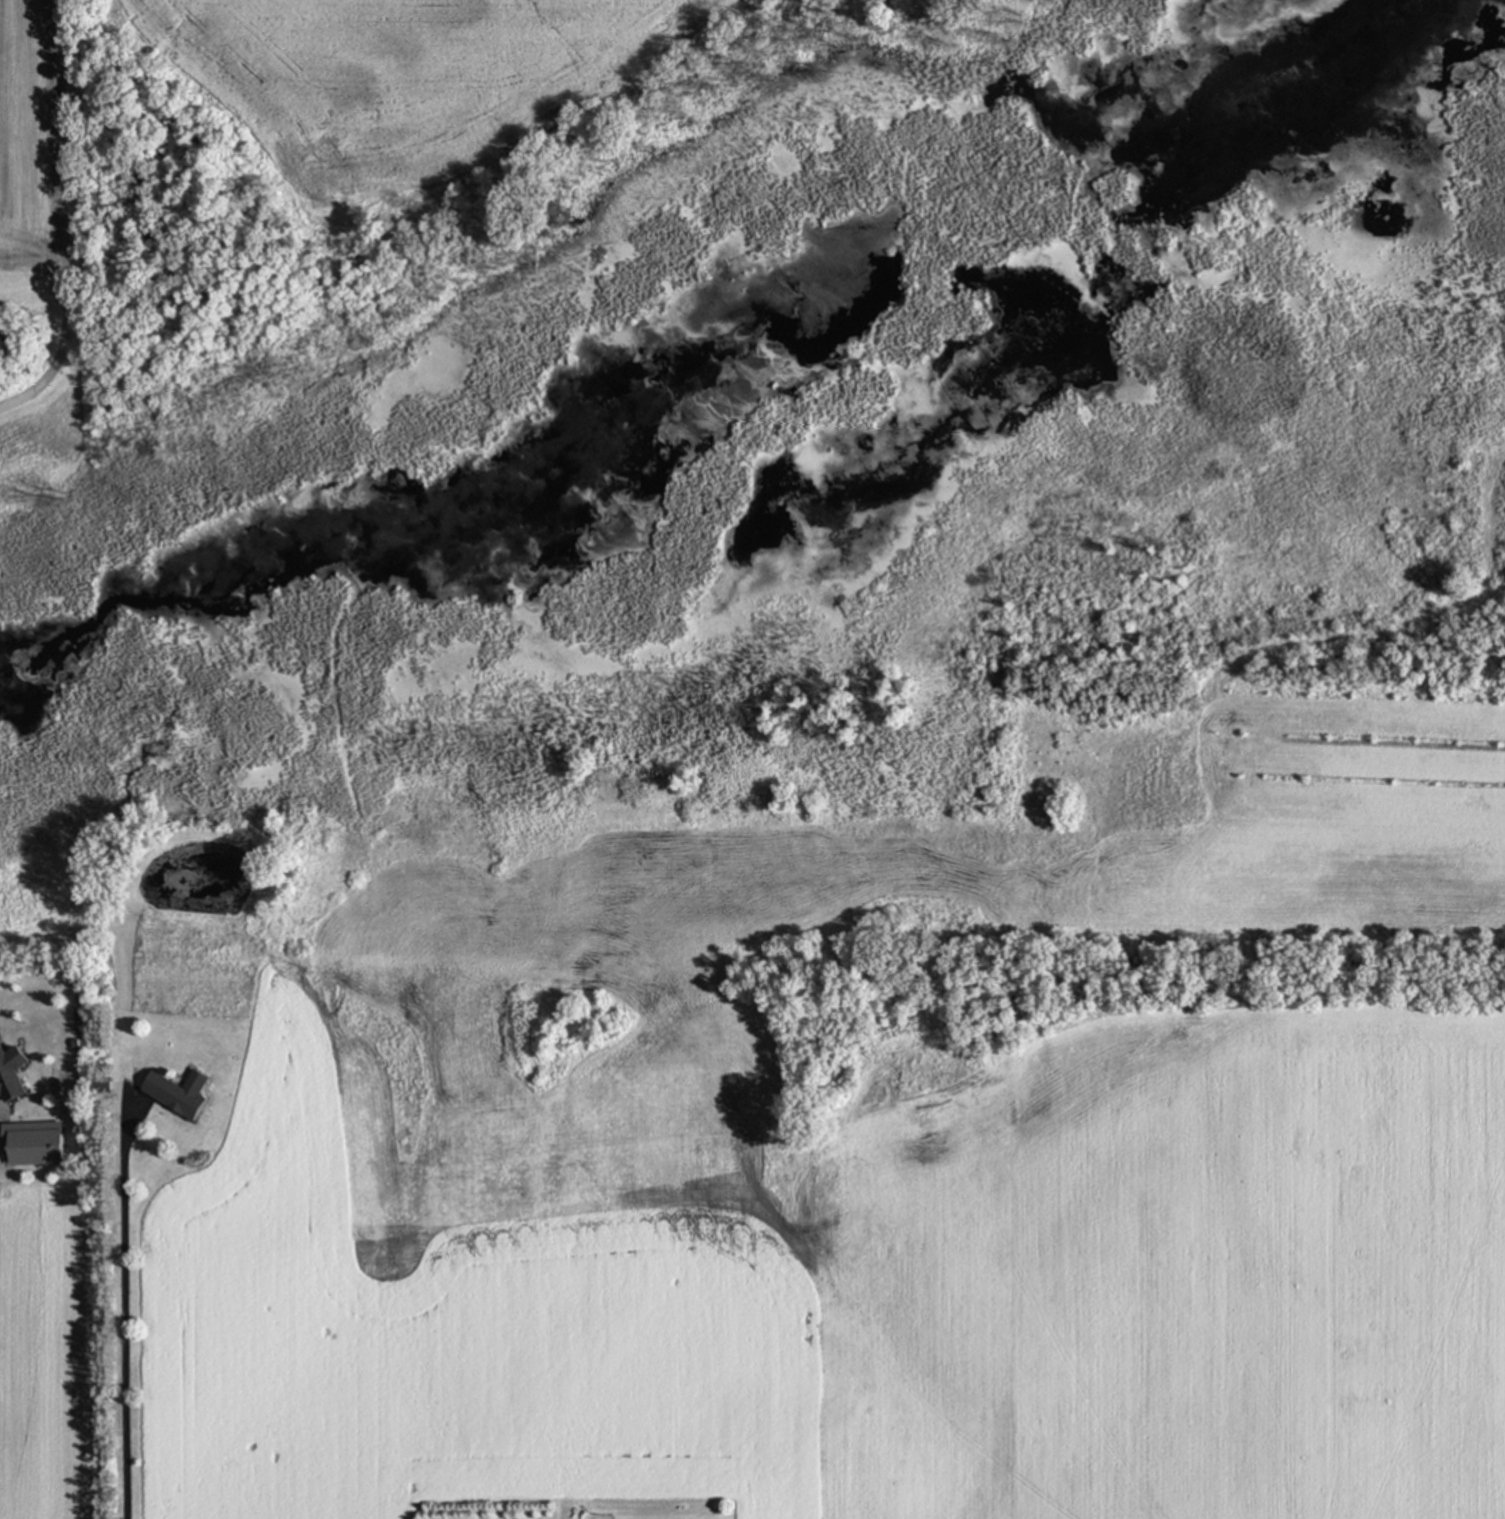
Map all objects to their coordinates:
building: (102, 1084)
building: (180, 1093)
road: (115, 1311)

